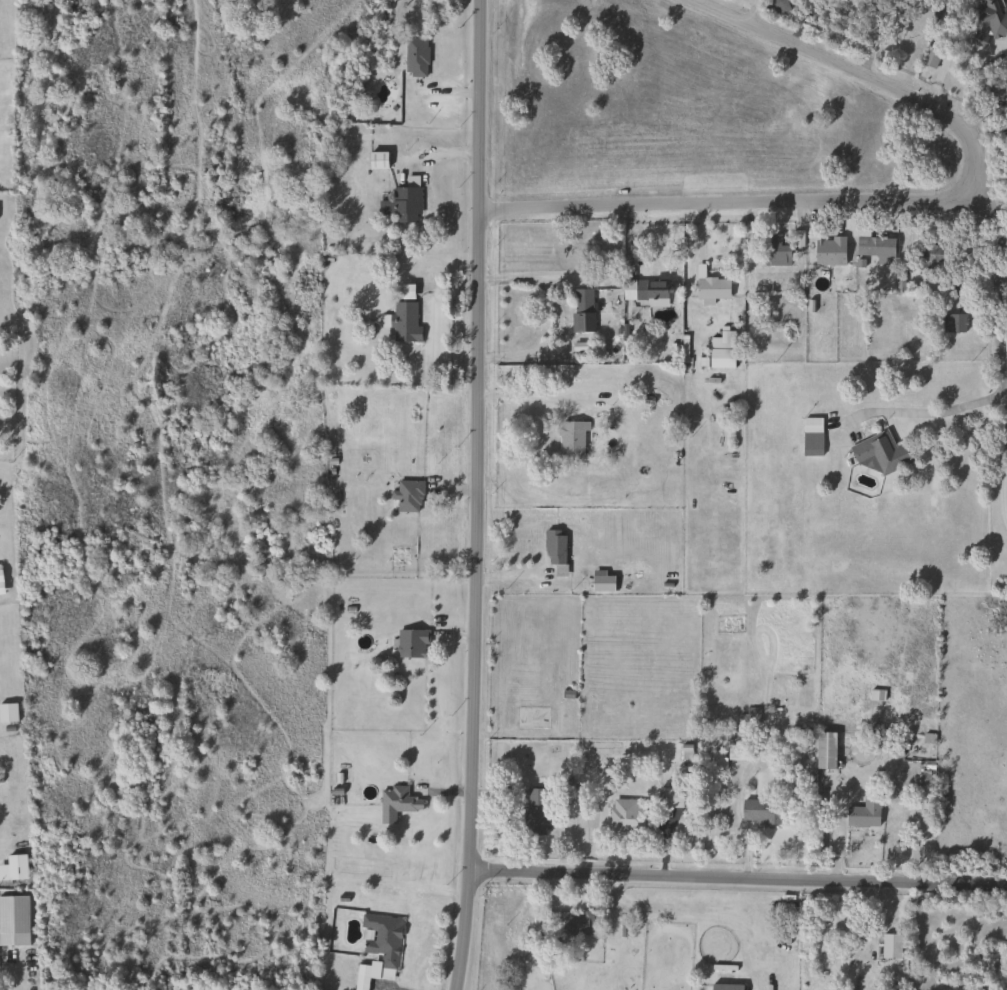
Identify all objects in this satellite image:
road: (192, 3)
road: (107, 11)
building: (991, 19)
road: (55, 28)
building: (4, 47)
building: (415, 56)
building: (929, 57)
road: (41, 67)
building: (997, 85)
road: (984, 130)
road: (147, 144)
building: (377, 159)
road: (899, 200)
road: (1000, 202)
building: (406, 204)
road: (997, 228)
building: (875, 245)
building: (829, 251)
building: (931, 252)
building: (775, 255)
road: (523, 277)
road: (171, 285)
building: (709, 286)
building: (645, 290)
road: (119, 310)
building: (581, 310)
building: (405, 320)
building: (953, 323)
road: (999, 341)
building: (721, 349)
road: (78, 378)
road: (921, 406)
building: (811, 436)
building: (571, 438)
building: (879, 453)
road: (1003, 481)
road: (478, 495)
building: (408, 496)
road: (169, 545)
building: (554, 549)
building: (411, 643)
building: (8, 712)
building: (531, 717)
building: (824, 750)
building: (669, 797)
building: (398, 801)
road: (136, 810)
building: (536, 811)
building: (759, 812)
building: (863, 813)
building: (624, 816)
building: (13, 868)
road: (738, 874)
road: (192, 907)
building: (13, 920)
building: (565, 923)
building: (380, 938)
building: (361, 978)
building: (725, 986)

